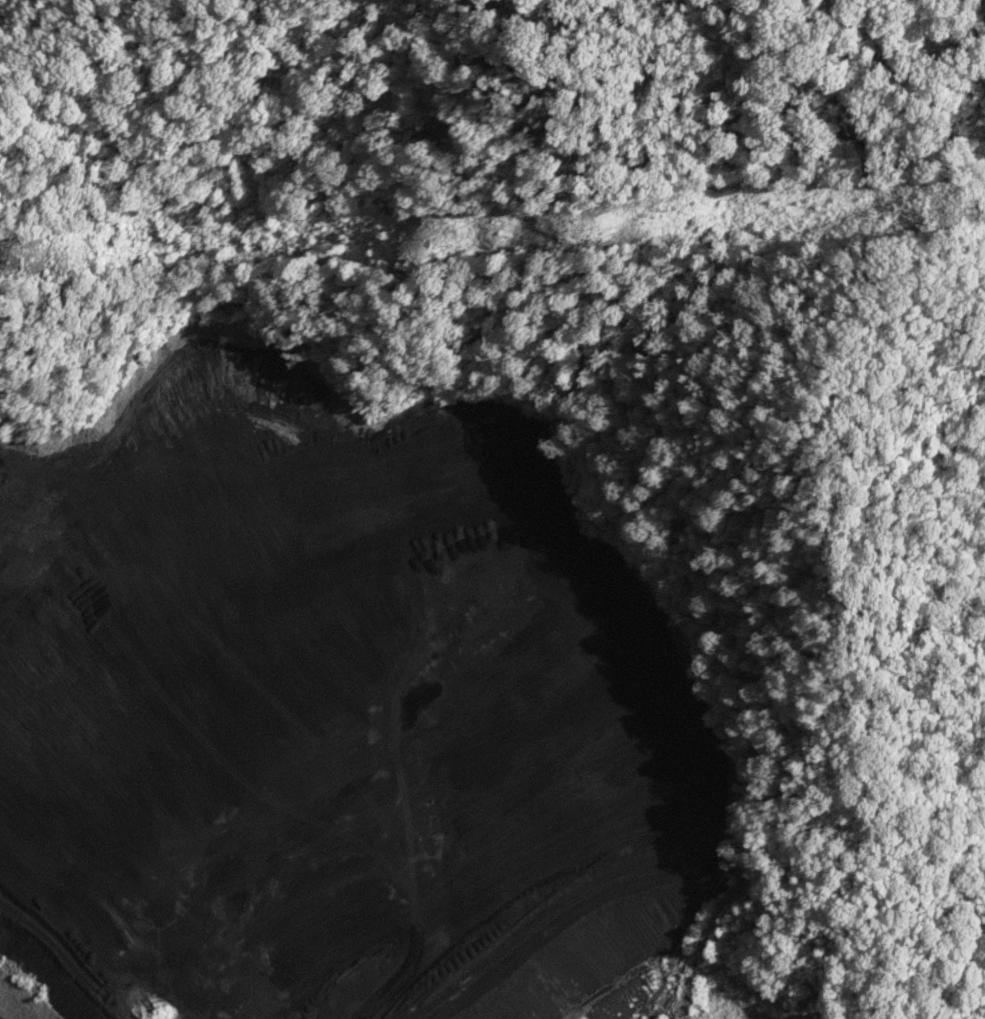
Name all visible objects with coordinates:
quarry: (340, 713)

